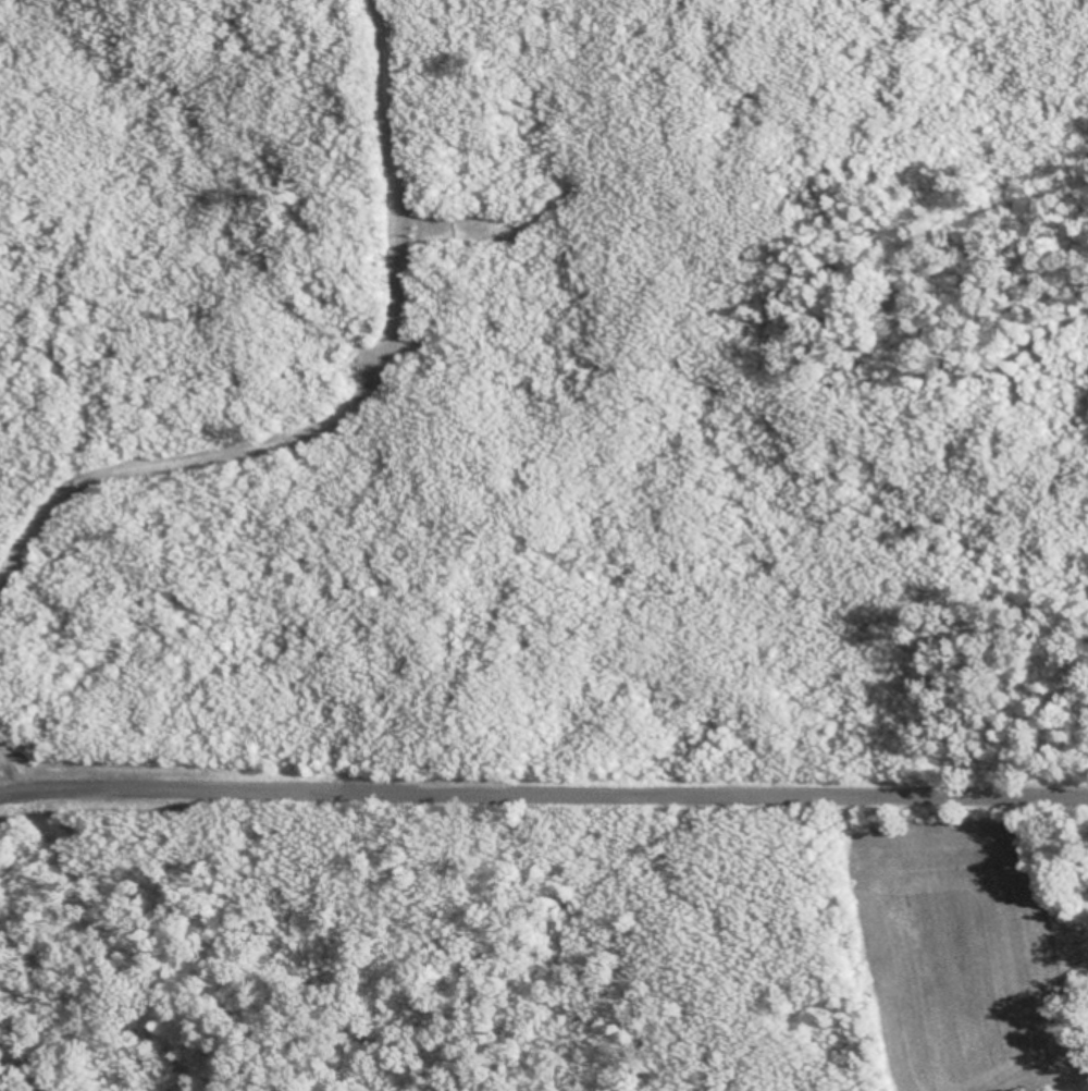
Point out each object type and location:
road: (543, 795)

